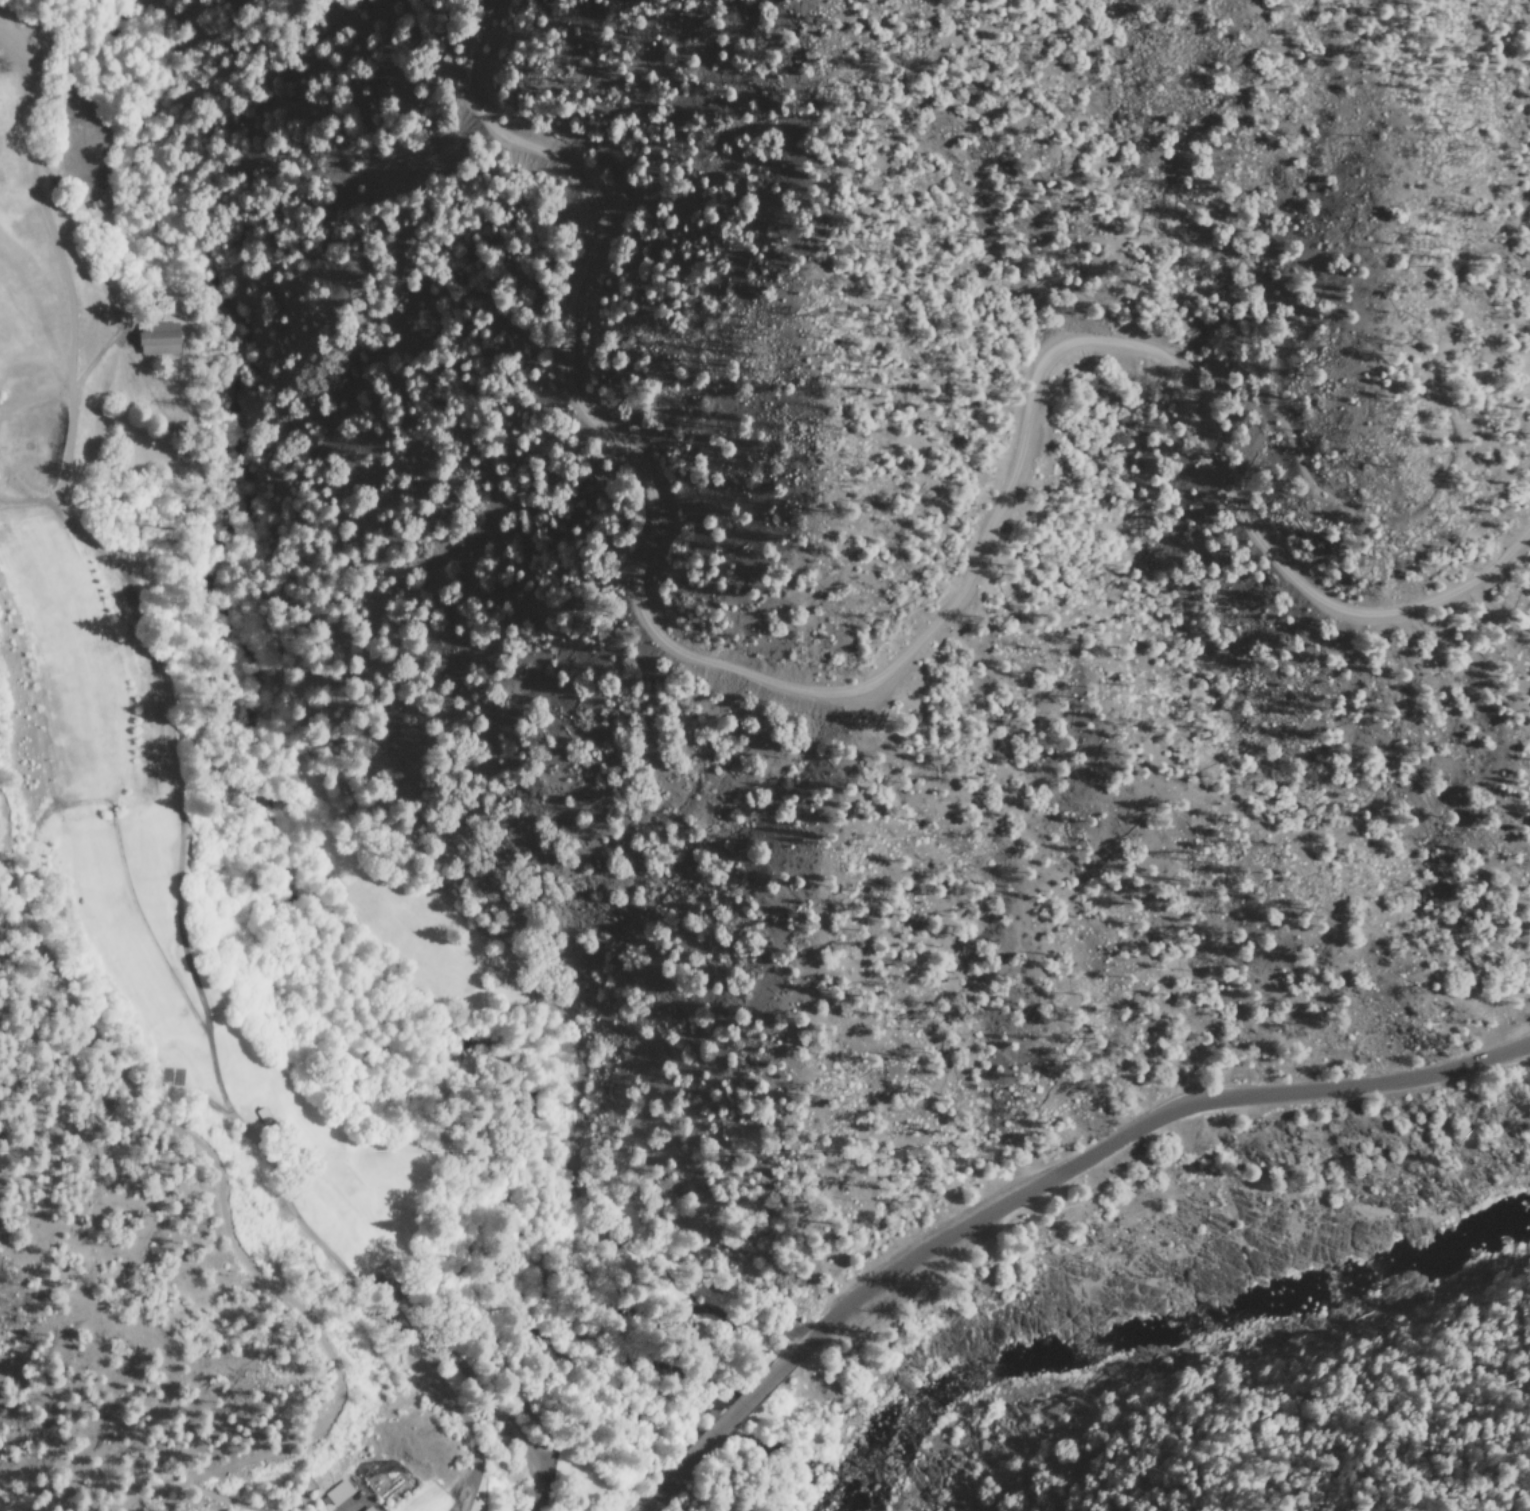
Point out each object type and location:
building: (157, 337)
road: (892, 651)
road: (121, 836)
road: (1041, 1187)
river: (1190, 1331)
building: (339, 1491)
river: (856, 1492)

